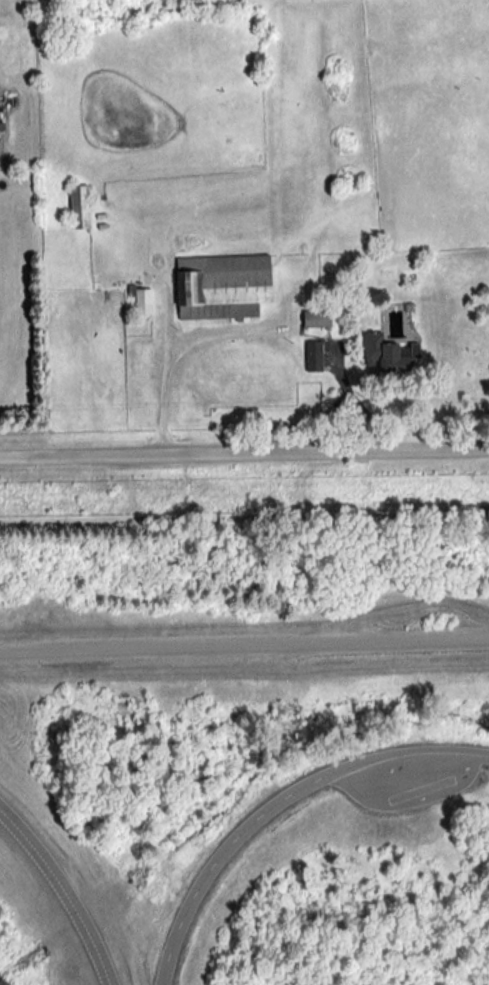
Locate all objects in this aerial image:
building: (1, 125)
building: (78, 206)
building: (221, 286)
building: (142, 300)
building: (316, 318)
road: (188, 328)
building: (388, 353)
building: (313, 355)
road: (152, 394)
road: (244, 453)
road: (244, 646)
road: (277, 799)
road: (64, 892)

